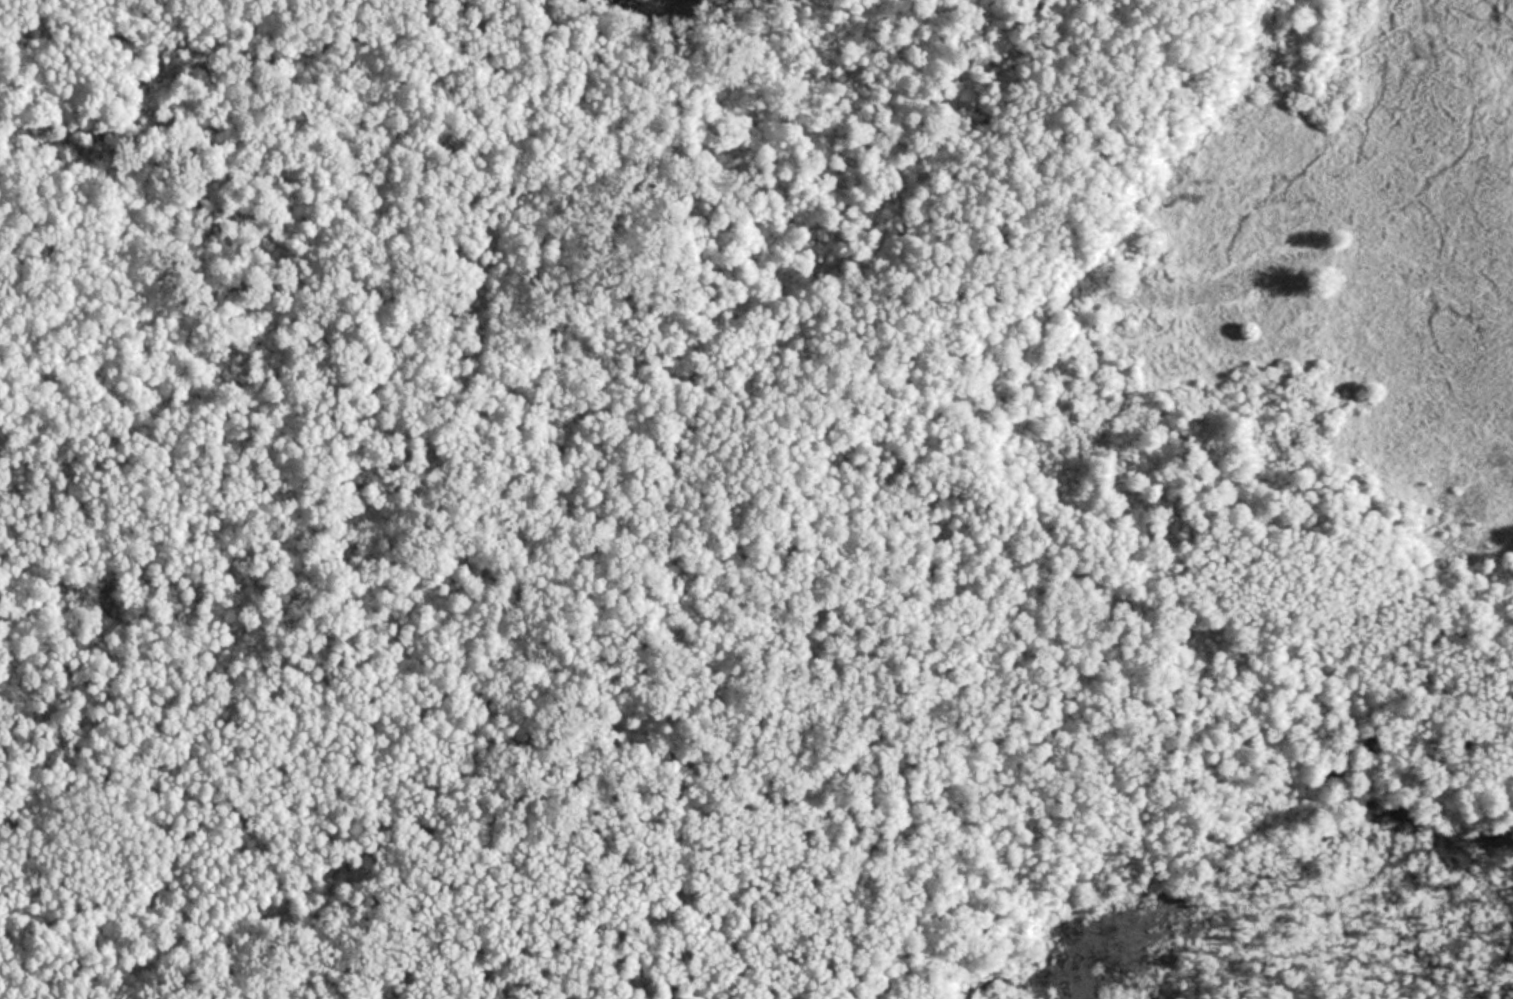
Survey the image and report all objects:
park: (756, 499)

